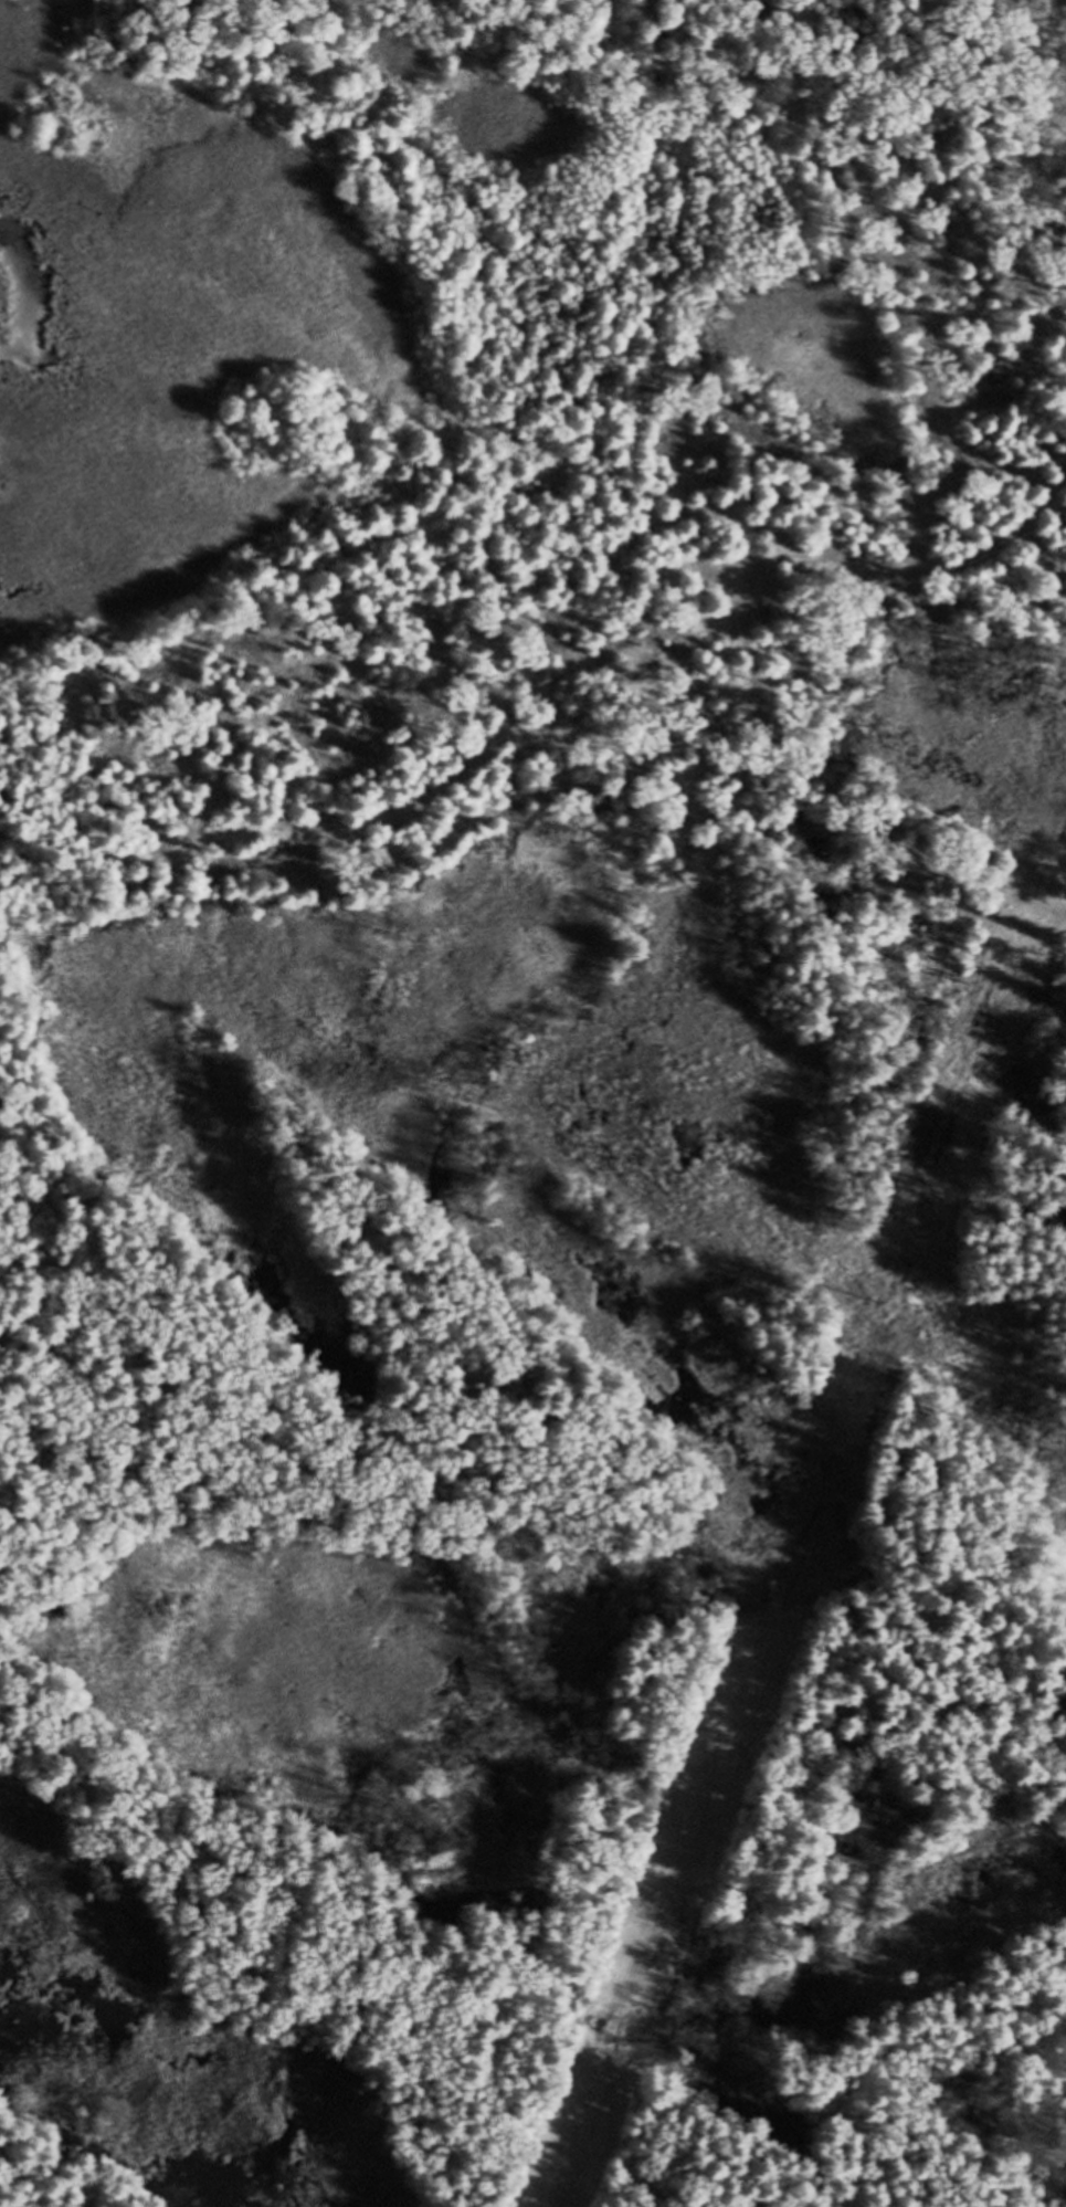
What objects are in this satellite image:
power tower: (1011, 906)
power tower: (875, 1292)
power tower: (733, 1662)
power tower: (570, 2091)

